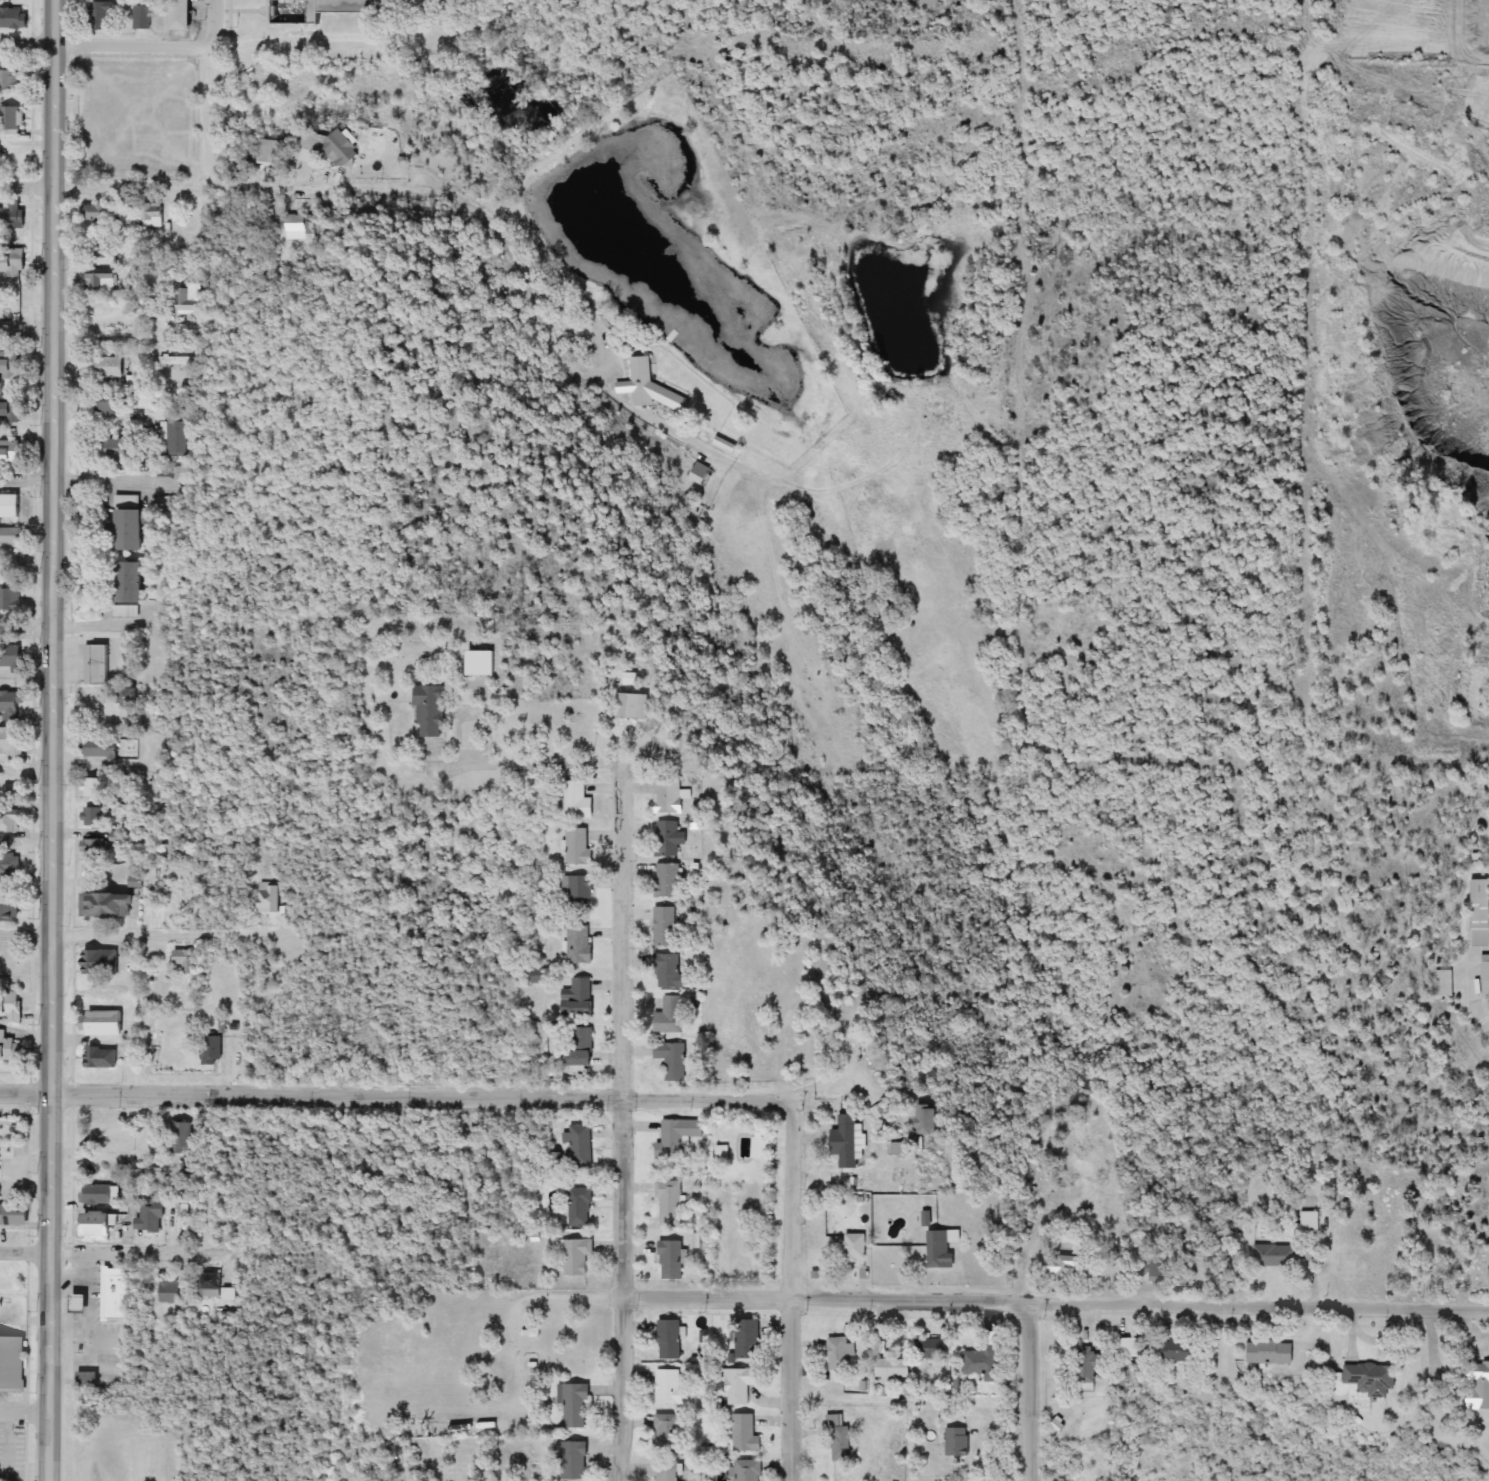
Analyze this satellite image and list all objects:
building: (325, 9)
building: (185, 15)
building: (103, 16)
building: (143, 17)
building: (14, 19)
road: (27, 44)
road: (133, 44)
building: (10, 80)
road: (211, 90)
building: (10, 118)
building: (331, 148)
building: (272, 153)
road: (27, 184)
road: (438, 187)
building: (100, 214)
building: (153, 215)
building: (13, 218)
building: (297, 227)
building: (12, 264)
building: (102, 278)
building: (189, 297)
road: (27, 329)
building: (177, 360)
building: (11, 365)
building: (111, 367)
building: (652, 390)
building: (10, 406)
building: (172, 436)
building: (118, 448)
building: (11, 452)
building: (702, 474)
road: (109, 476)
road: (26, 477)
building: (126, 501)
building: (11, 506)
building: (130, 531)
building: (12, 537)
building: (129, 589)
building: (10, 599)
road: (27, 624)
road: (95, 624)
building: (11, 657)
building: (97, 665)
building: (10, 706)
building: (637, 706)
building: (430, 711)
building: (13, 740)
road: (51, 740)
building: (103, 747)
road: (544, 765)
road: (25, 766)
road: (99, 766)
building: (95, 788)
building: (670, 796)
building: (578, 801)
building: (94, 818)
building: (10, 821)
building: (668, 839)
building: (5, 842)
building: (579, 846)
building: (96, 849)
building: (10, 865)
building: (668, 881)
building: (580, 890)
building: (270, 898)
building: (112, 906)
building: (8, 910)
building: (1476, 922)
building: (665, 927)
road: (174, 929)
road: (24, 934)
building: (581, 945)
building: (186, 961)
building: (100, 963)
building: (11, 964)
building: (665, 970)
building: (1484, 976)
building: (574, 996)
building: (11, 1006)
building: (664, 1017)
building: (104, 1023)
building: (10, 1047)
building: (575, 1048)
building: (213, 1050)
building: (103, 1058)
building: (669, 1060)
road: (820, 1088)
road: (24, 1093)
road: (419, 1096)
road: (623, 1123)
building: (919, 1126)
building: (182, 1137)
building: (672, 1138)
building: (841, 1142)
building: (577, 1146)
building: (718, 1154)
building: (0, 1158)
building: (110, 1169)
building: (159, 1174)
building: (830, 1179)
building: (99, 1194)
building: (667, 1203)
building: (184, 1207)
building: (577, 1207)
building: (15, 1215)
building: (152, 1215)
building: (1306, 1220)
building: (102, 1225)
road: (24, 1226)
road: (794, 1235)
building: (1375, 1244)
building: (851, 1248)
building: (934, 1249)
road: (24, 1252)
road: (135, 1252)
building: (1273, 1255)
building: (573, 1256)
building: (667, 1259)
building: (1348, 1260)
building: (1056, 1267)
building: (211, 1286)
building: (175, 1289)
building: (113, 1293)
building: (228, 1294)
road: (1005, 1301)
building: (82, 1303)
building: (667, 1339)
building: (744, 1342)
building: (927, 1348)
building: (1173, 1350)
building: (1264, 1352)
building: (839, 1353)
building: (969, 1361)
building: (12, 1363)
building: (889, 1365)
building: (1081, 1367)
building: (88, 1379)
building: (1365, 1379)
building: (736, 1385)
building: (1474, 1385)
building: (667, 1386)
road: (1030, 1391)
building: (575, 1404)
road: (24, 1412)
building: (664, 1430)
building: (742, 1433)
building: (953, 1442)
building: (575, 1460)
building: (742, 1470)
building: (663, 1471)
building: (1, 1476)

